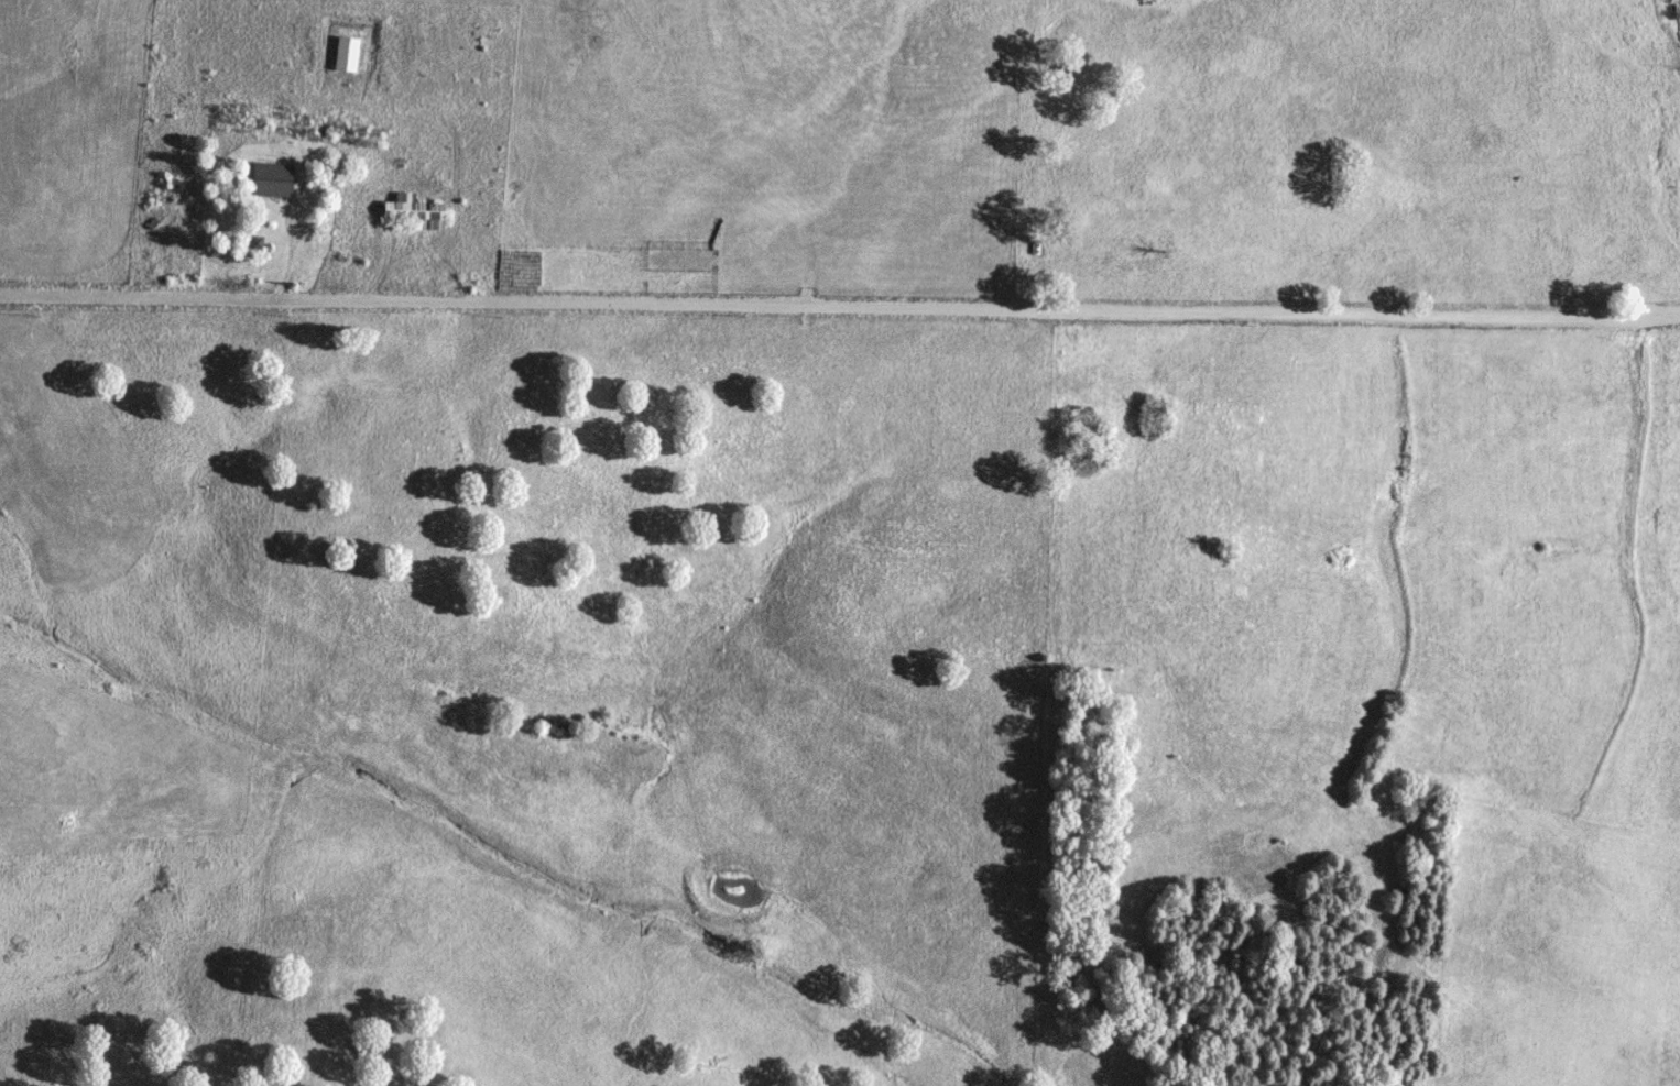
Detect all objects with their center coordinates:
building: (348, 54)
building: (275, 179)
road: (840, 294)

